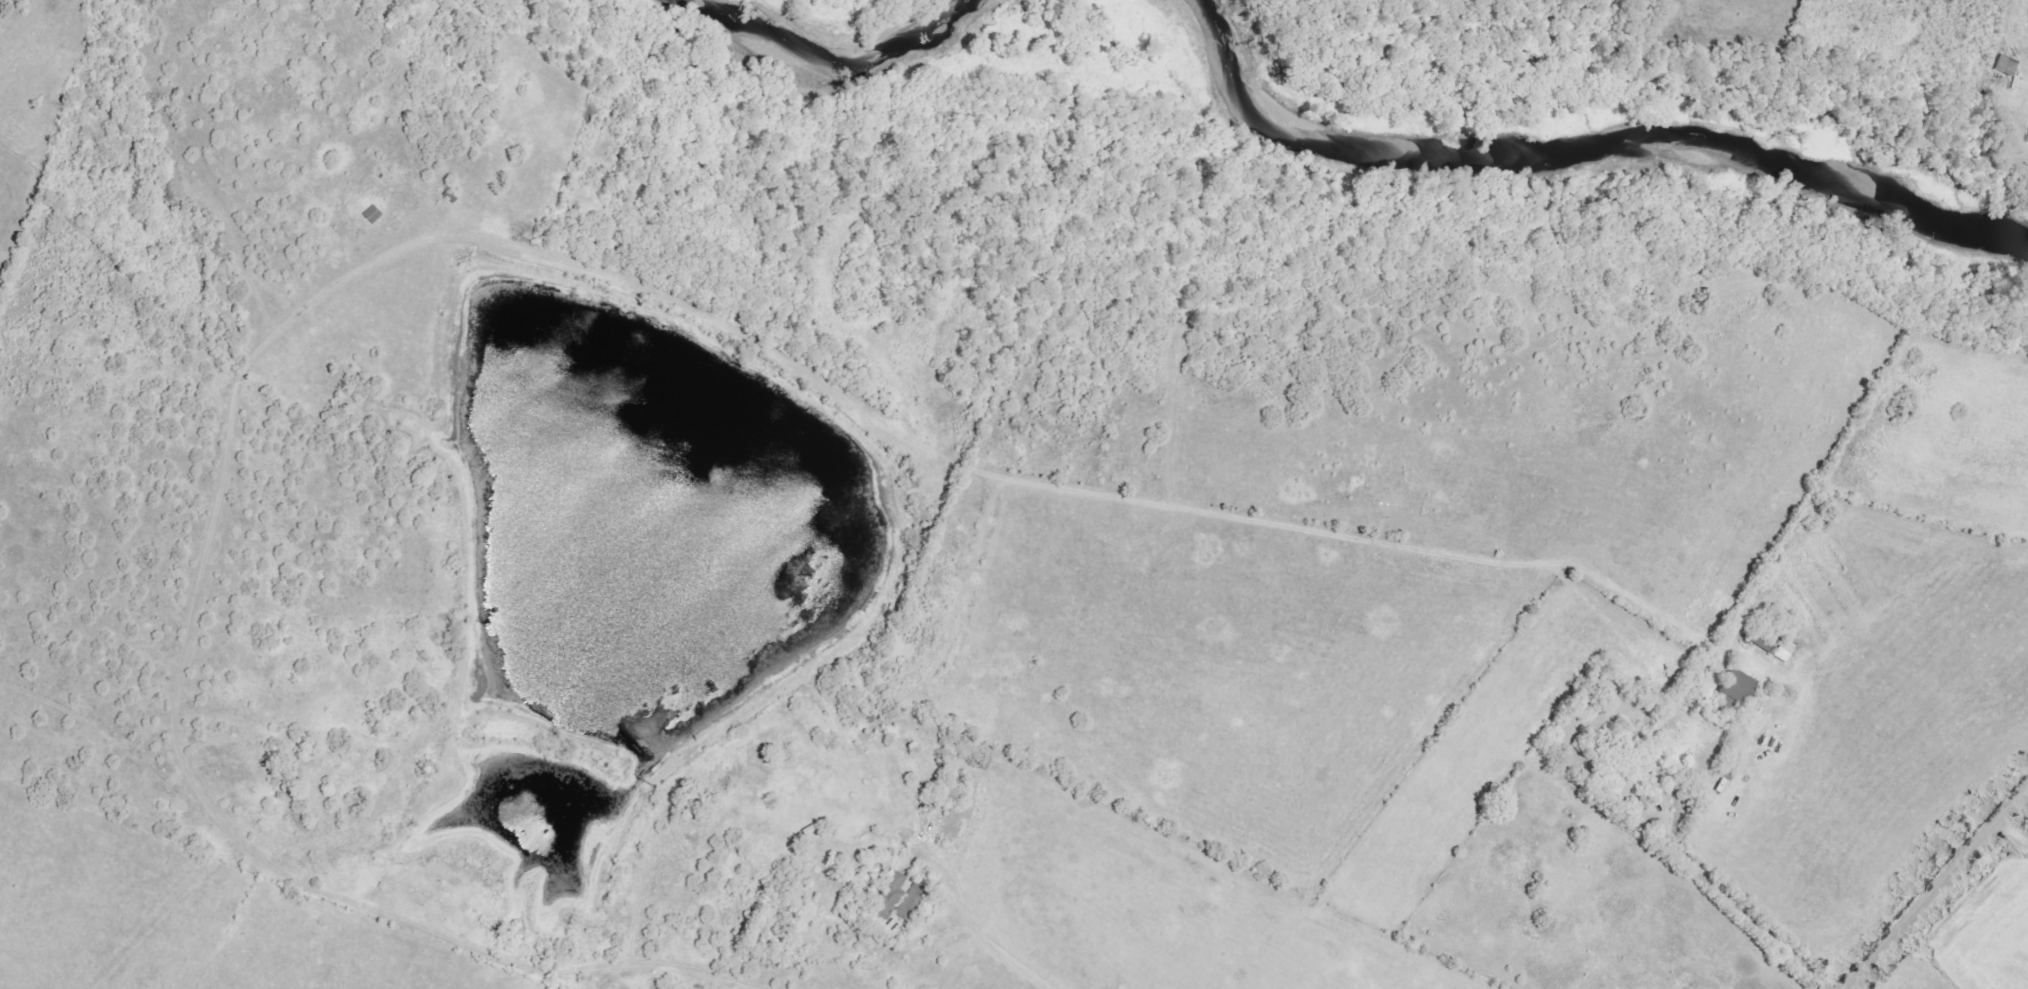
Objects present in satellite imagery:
building: (2005, 65)
building: (1781, 650)
road: (1706, 885)
road: (1936, 890)
building: (893, 898)
building: (908, 903)
road: (974, 929)

